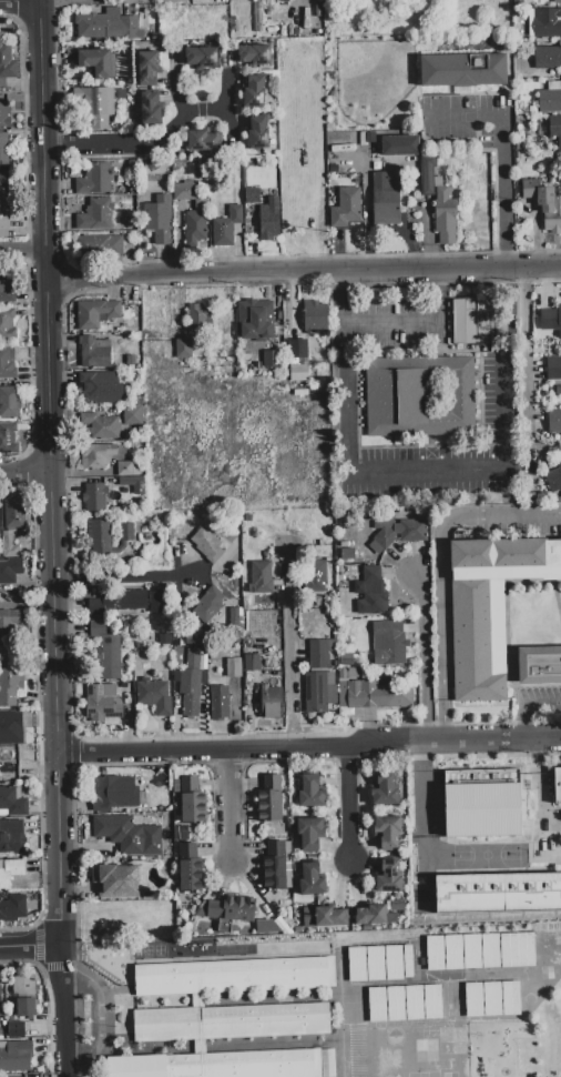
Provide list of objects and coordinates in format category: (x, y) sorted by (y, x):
road: (81, 1)
building: (557, 1)
road: (20, 2)
building: (547, 23)
building: (90, 27)
building: (123, 29)
building: (154, 37)
building: (254, 54)
building: (201, 58)
building: (547, 58)
building: (6, 62)
building: (98, 62)
building: (149, 68)
building: (462, 69)
building: (125, 72)
park: (374, 84)
building: (254, 92)
road: (175, 93)
building: (550, 98)
road: (225, 104)
building: (98, 107)
building: (299, 107)
building: (151, 109)
building: (4, 114)
building: (328, 128)
building: (555, 129)
building: (258, 132)
building: (366, 139)
building: (204, 141)
road: (142, 144)
building: (399, 145)
building: (521, 147)
building: (3, 149)
building: (375, 152)
road: (503, 154)
building: (523, 154)
building: (531, 154)
building: (456, 162)
building: (132, 165)
building: (334, 167)
building: (312, 169)
building: (429, 175)
building: (1, 177)
building: (94, 180)
building: (186, 190)
building: (252, 195)
building: (385, 200)
building: (544, 204)
building: (200, 205)
building: (344, 207)
building: (304, 210)
building: (95, 214)
building: (445, 215)
building: (4, 217)
building: (269, 217)
building: (159, 219)
building: (226, 227)
building: (195, 229)
building: (99, 246)
road: (22, 251)
road: (304, 274)
building: (8, 288)
building: (95, 313)
building: (198, 316)
building: (315, 316)
building: (550, 319)
building: (255, 320)
building: (470, 321)
road: (394, 322)
building: (7, 324)
parking lot: (404, 324)
building: (183, 349)
building: (93, 353)
building: (271, 359)
building: (298, 360)
building: (8, 364)
road: (526, 365)
building: (553, 368)
road: (347, 373)
building: (101, 389)
building: (417, 395)
building: (10, 402)
building: (132, 414)
building: (554, 421)
building: (101, 426)
building: (8, 439)
crop: (231, 439)
parking lot: (451, 445)
building: (96, 456)
building: (127, 469)
road: (488, 470)
road: (53, 471)
road: (27, 472)
building: (554, 480)
building: (133, 484)
building: (94, 497)
building: (13, 513)
road: (503, 517)
building: (397, 533)
building: (106, 536)
building: (8, 543)
building: (207, 545)
building: (347, 554)
building: (10, 570)
road: (130, 571)
building: (315, 575)
building: (261, 577)
building: (371, 593)
building: (156, 601)
building: (119, 602)
building: (208, 604)
building: (490, 610)
building: (234, 620)
building: (98, 627)
road: (441, 630)
building: (2, 635)
building: (390, 645)
road: (287, 647)
building: (320, 653)
building: (109, 656)
road: (428, 657)
building: (195, 660)
building: (346, 661)
building: (252, 663)
building: (540, 667)
building: (234, 668)
building: (192, 676)
building: (10, 685)
building: (319, 692)
building: (379, 693)
building: (153, 696)
building: (190, 699)
building: (271, 702)
building: (103, 703)
building: (220, 703)
road: (523, 703)
building: (11, 742)
road: (310, 747)
building: (558, 787)
building: (385, 791)
building: (312, 792)
building: (439, 792)
building: (113, 793)
building: (269, 799)
building: (507, 799)
building: (192, 801)
building: (12, 802)
road: (235, 804)
road: (351, 805)
building: (416, 813)
building: (433, 813)
building: (127, 832)
building: (388, 832)
building: (309, 834)
building: (11, 836)
building: (274, 866)
building: (190, 868)
building: (10, 872)
building: (389, 877)
building: (116, 880)
building: (312, 880)
building: (498, 893)
building: (12, 908)
building: (227, 912)
building: (375, 915)
building: (324, 917)
road: (32, 945)
building: (480, 953)
building: (379, 965)
building: (234, 977)
building: (1, 996)
building: (24, 996)
building: (492, 999)
building: (406, 1005)
road: (65, 1009)
road: (99, 1021)
building: (231, 1024)
building: (16, 1029)
building: (16, 1057)
building: (244, 1065)
building: (137, 1066)

